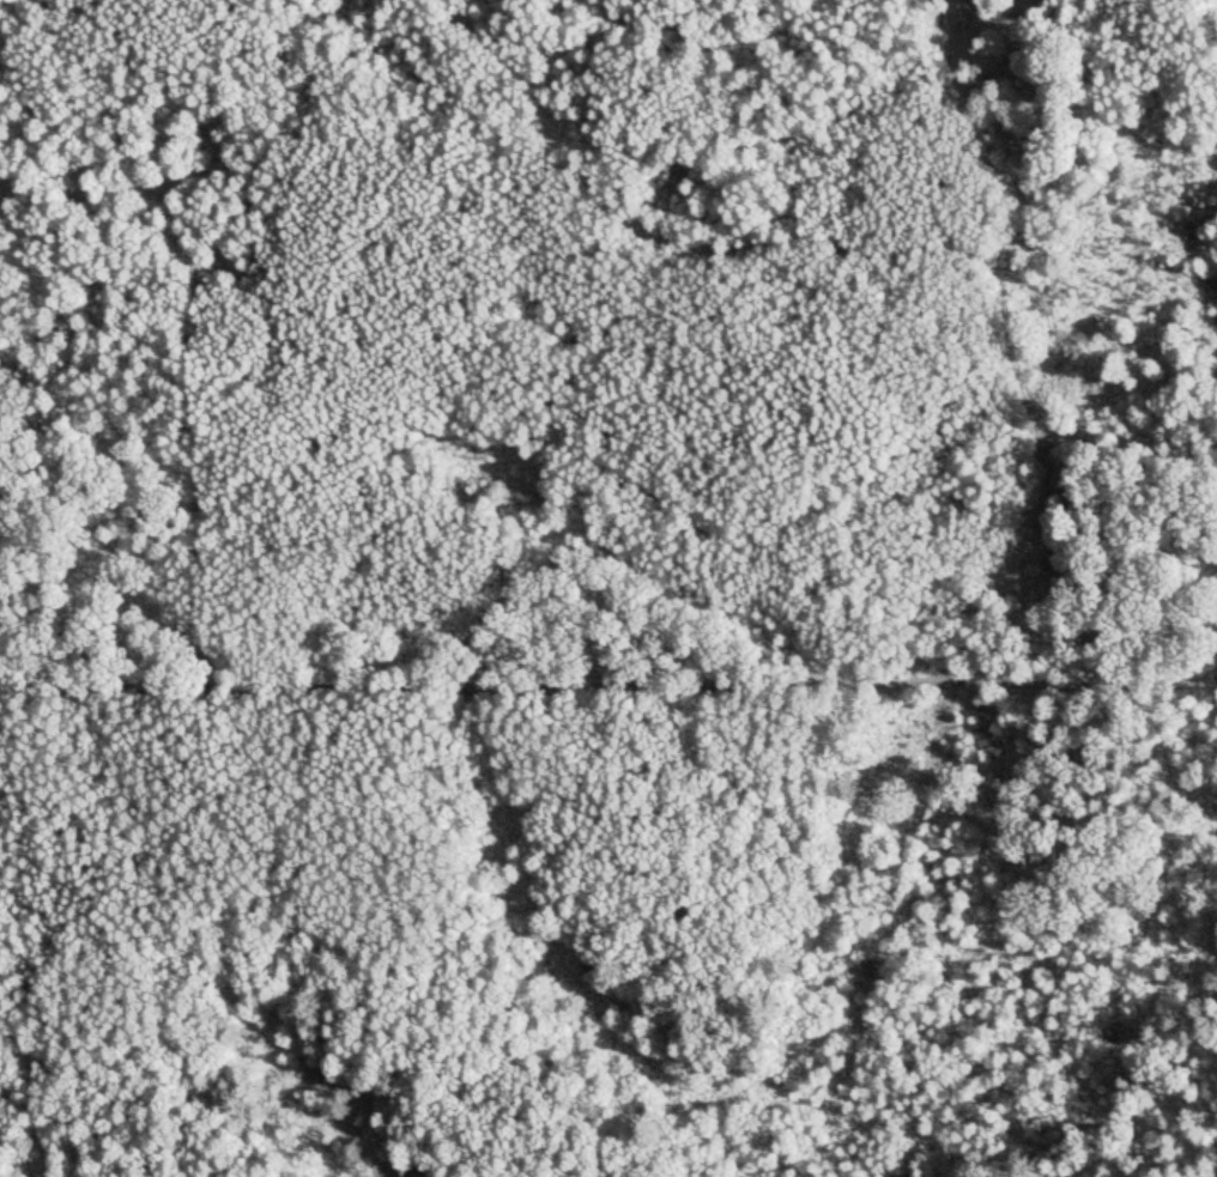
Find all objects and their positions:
road: (608, 684)

